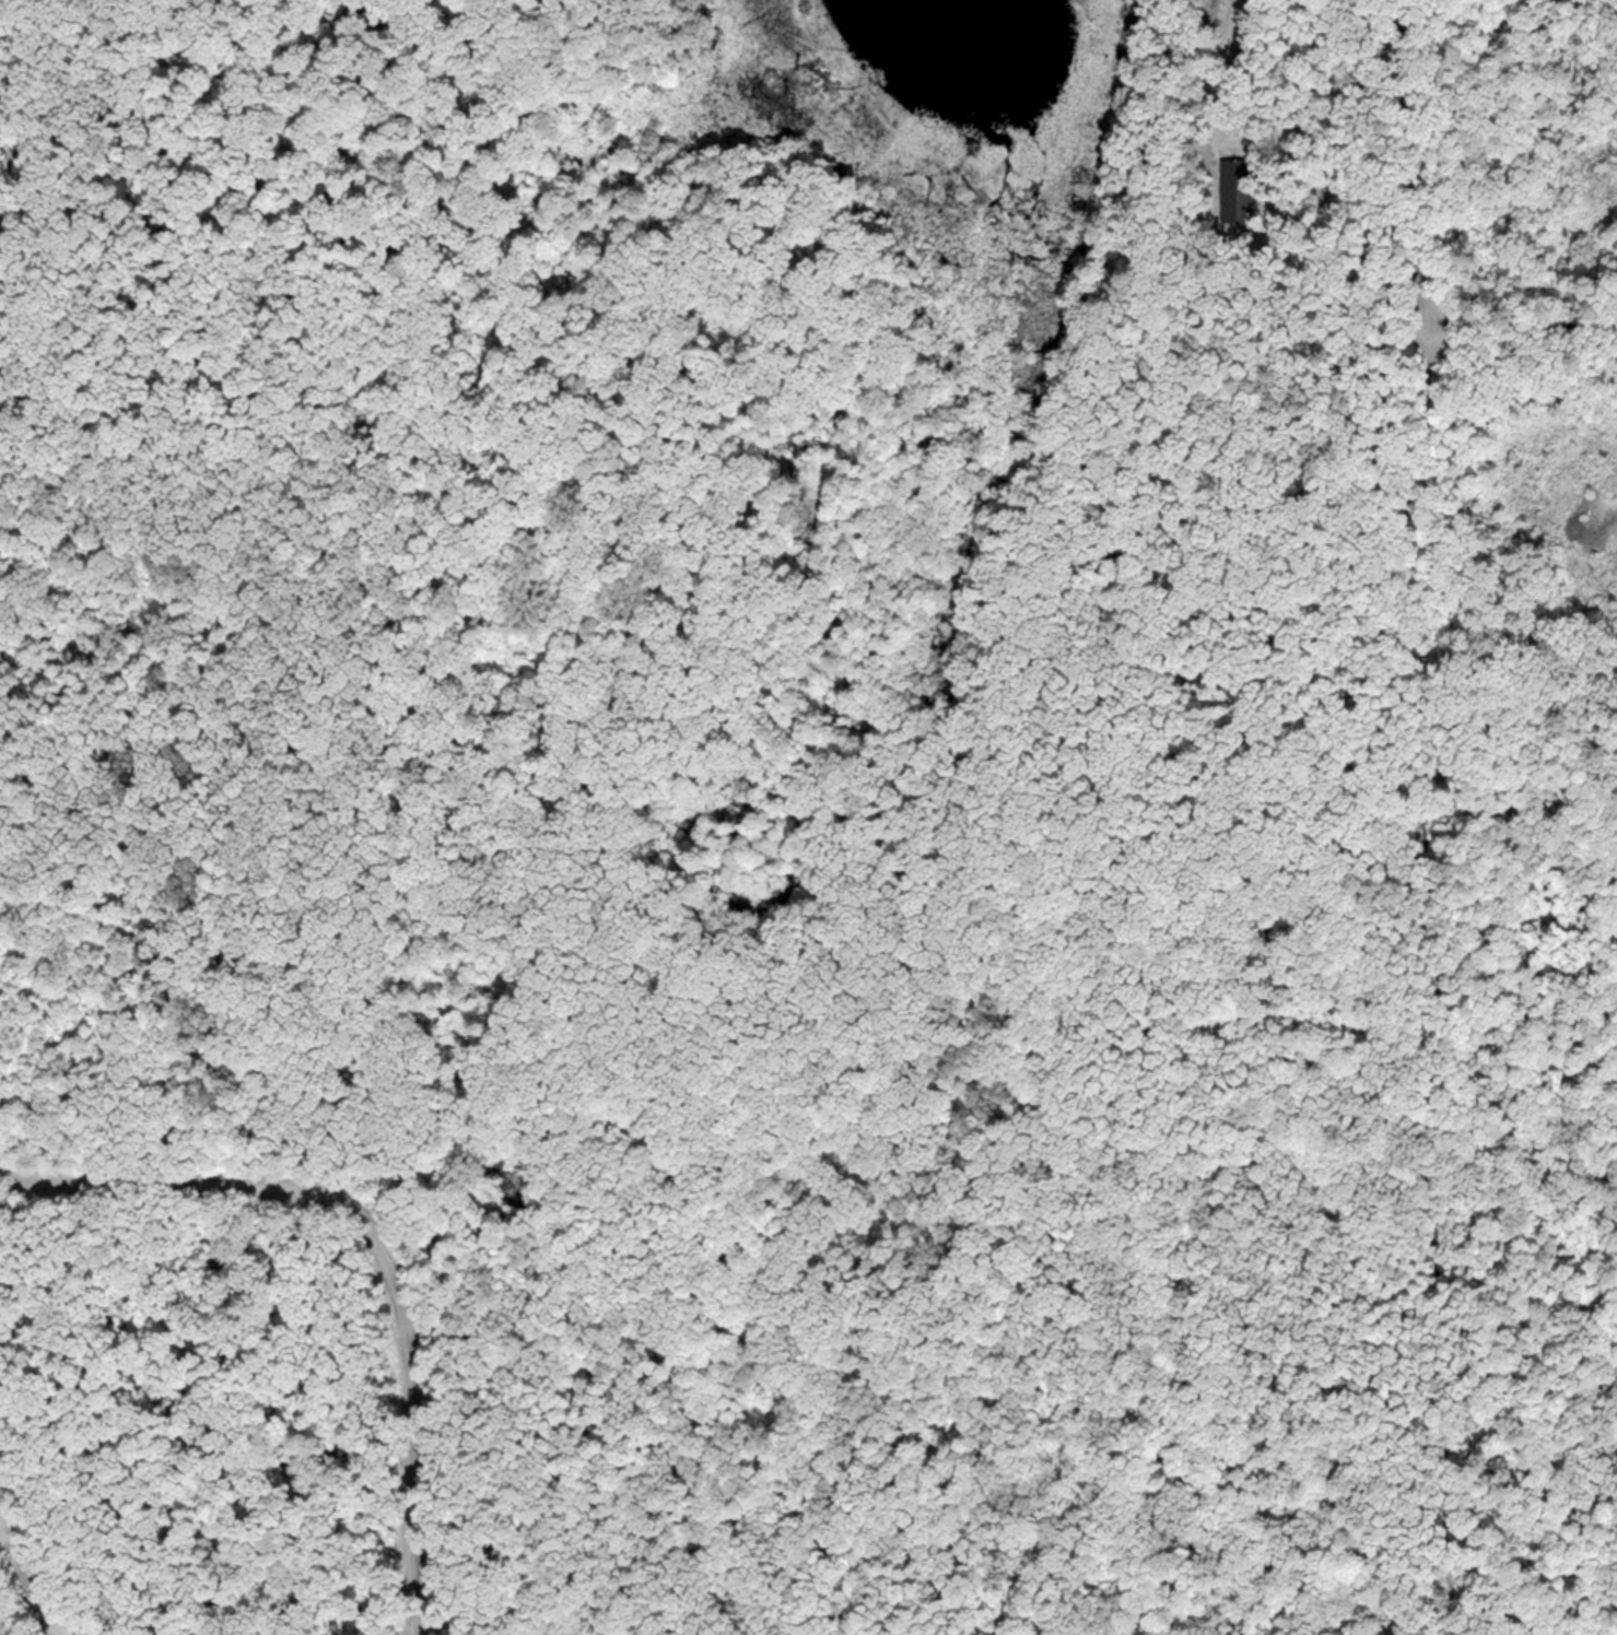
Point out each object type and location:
road: (1336, 99)
road: (1522, 328)
road: (472, 454)
road: (1423, 816)
park: (781, 882)
road: (375, 1242)
road: (227, 1374)
road: (302, 1591)
road: (167, 1598)
road: (415, 1627)

